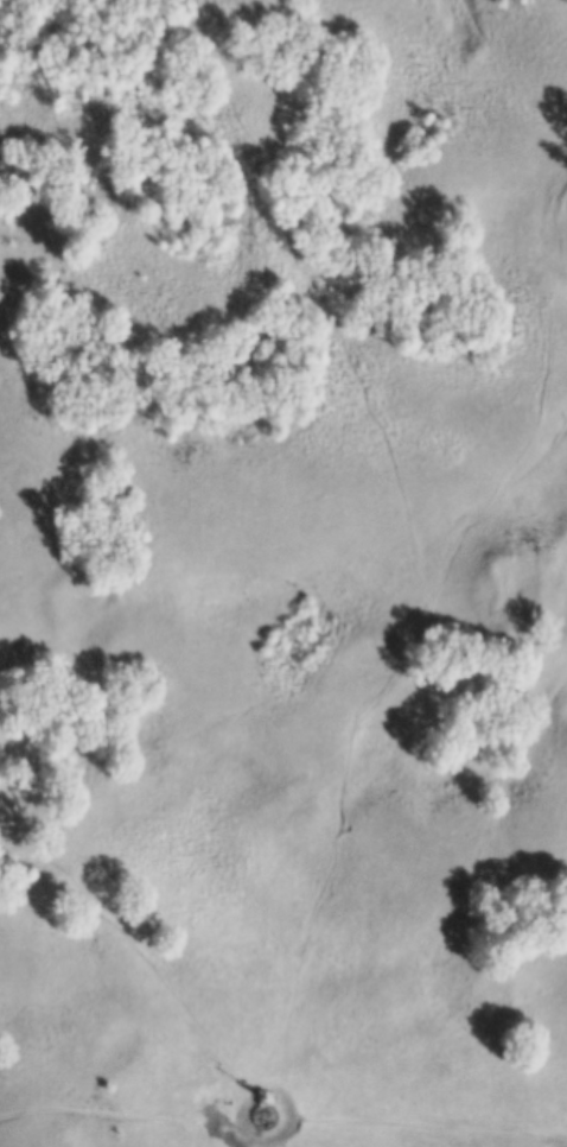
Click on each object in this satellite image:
road: (282, 1136)

